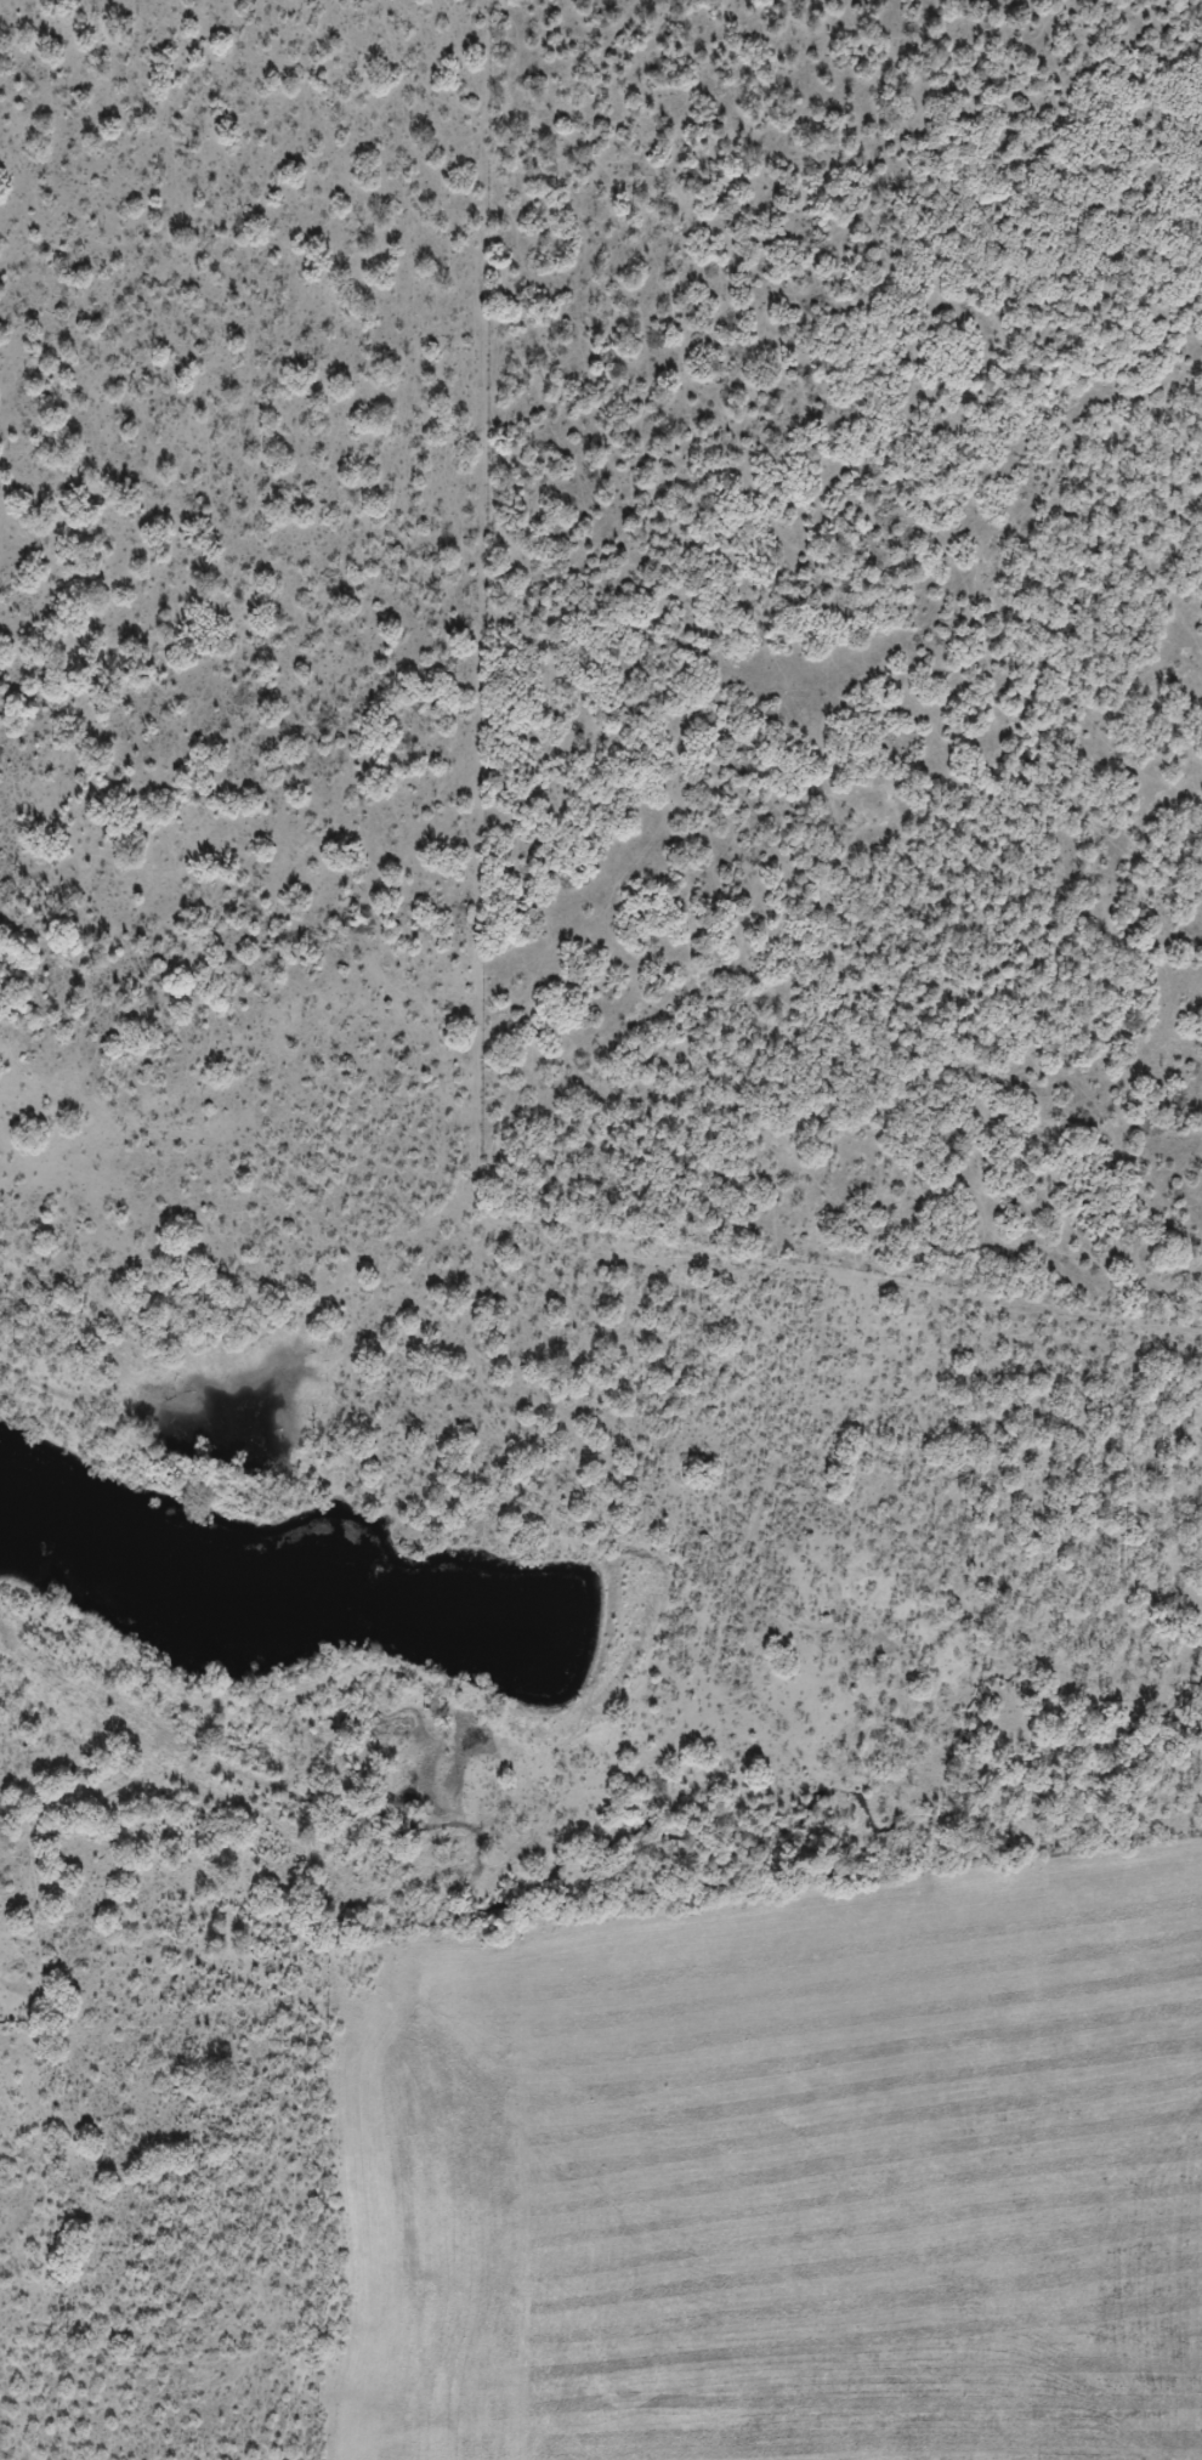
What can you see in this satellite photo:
road: (433, 1572)

